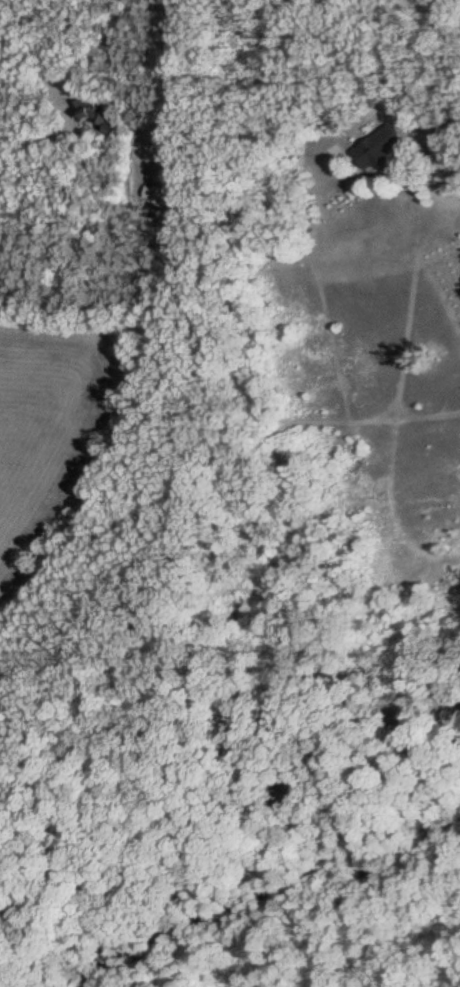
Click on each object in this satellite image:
road: (111, 22)
road: (386, 73)
road: (182, 92)
building: (92, 111)
building: (381, 146)
building: (159, 191)

